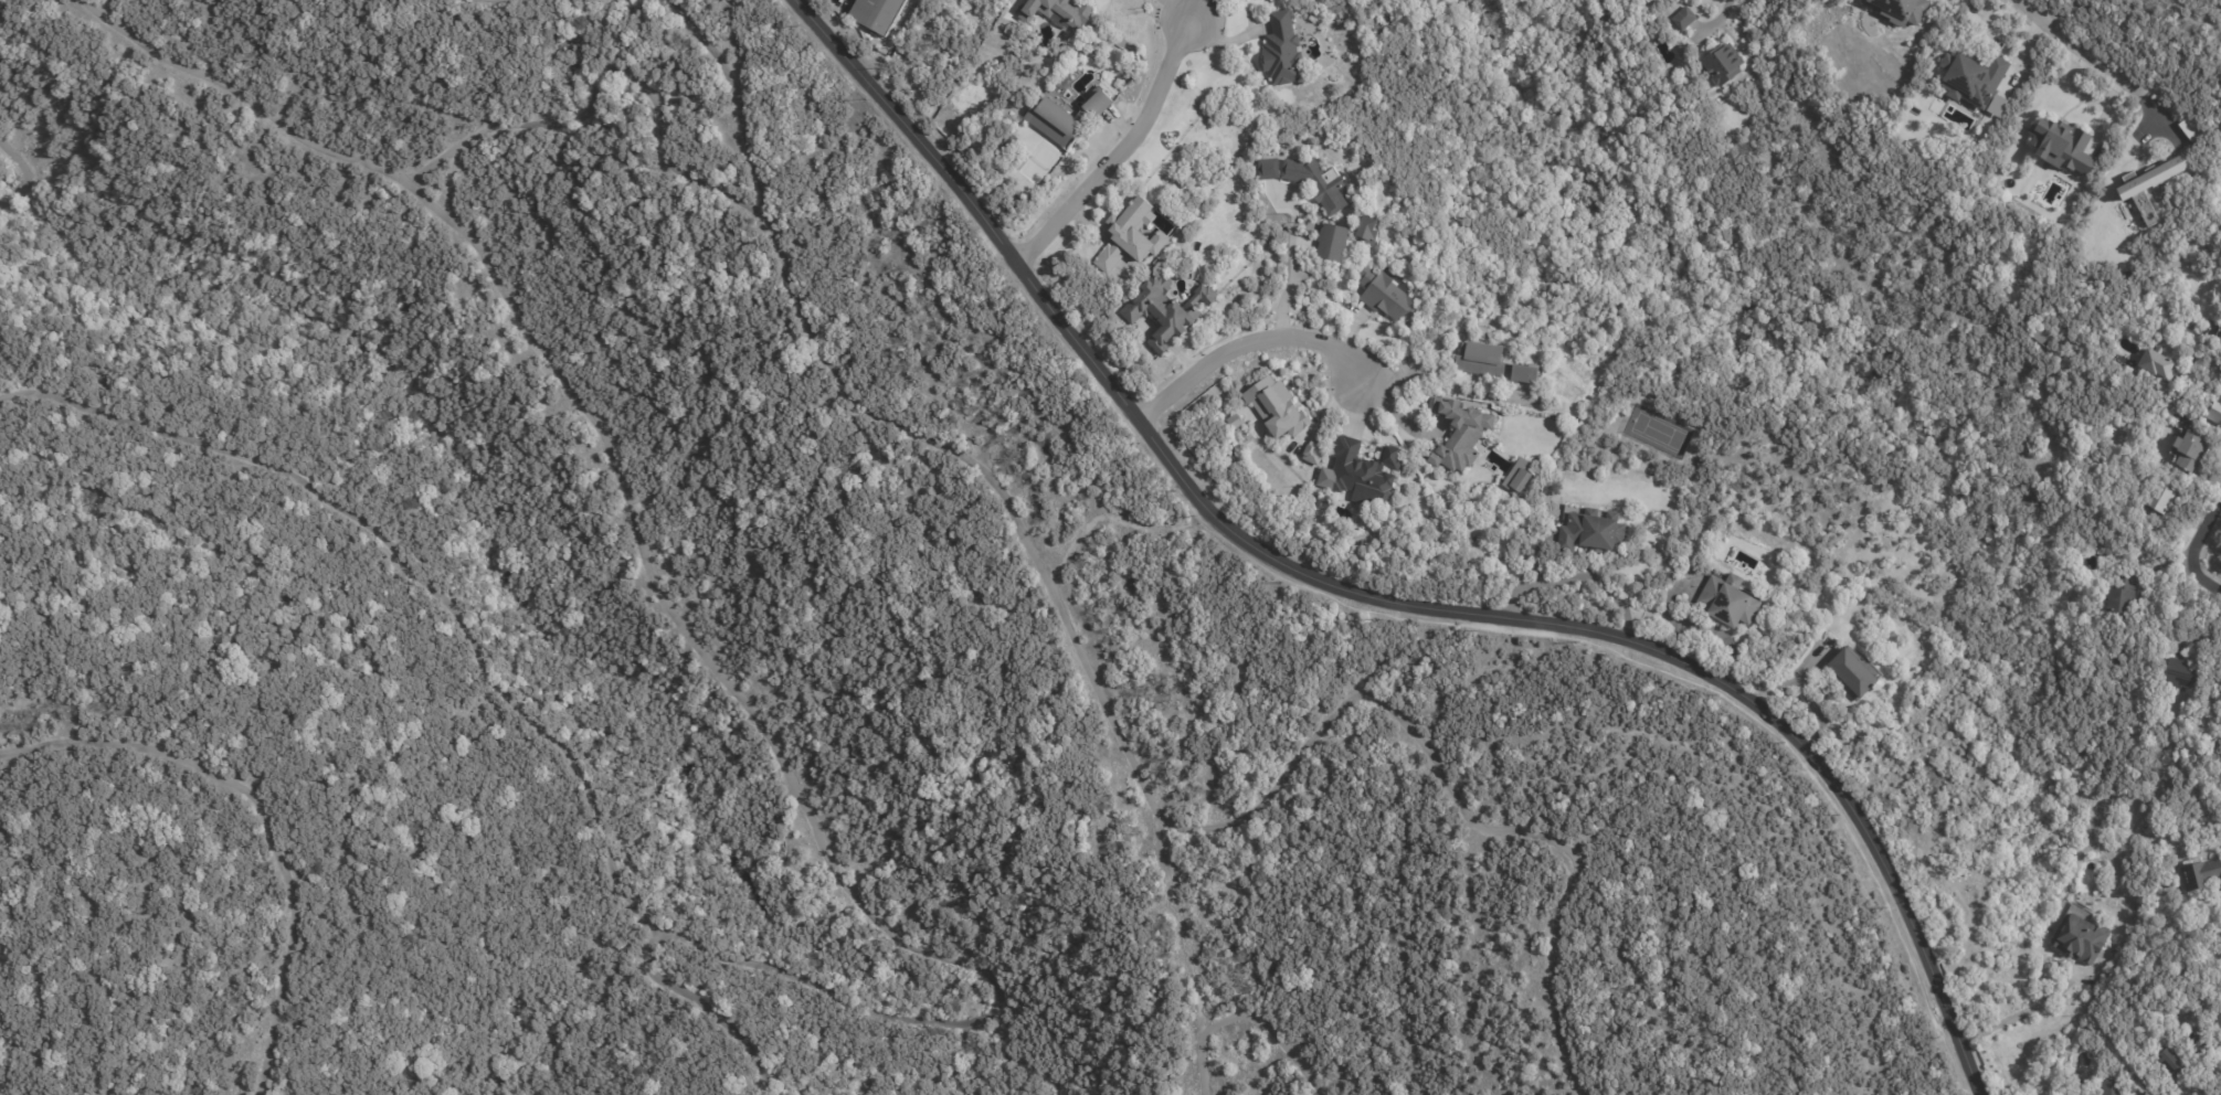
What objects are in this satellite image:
road: (1182, 7)
building: (1899, 10)
building: (1058, 11)
building: (878, 14)
building: (1681, 20)
building: (1286, 51)
building: (1721, 64)
road: (2098, 66)
building: (1968, 81)
building: (1069, 118)
building: (2061, 147)
road: (1124, 150)
building: (1309, 178)
building: (1368, 228)
building: (1130, 234)
building: (1333, 242)
road: (1290, 262)
building: (1390, 297)
building: (1164, 307)
building: (2219, 339)
road: (1242, 340)
building: (2159, 358)
road: (2204, 365)
building: (1499, 366)
building: (1275, 407)
road: (1390, 411)
building: (2214, 413)
building: (2185, 425)
building: (1460, 433)
building: (1312, 453)
building: (2185, 454)
building: (1364, 475)
building: (1522, 478)
building: (1320, 501)
building: (2158, 501)
building: (1590, 532)
road: (2206, 539)
road: (1577, 578)
road: (2202, 583)
building: (2120, 592)
road: (1375, 599)
building: (1727, 603)
building: (1850, 673)
building: (2174, 677)
building: (2198, 874)
building: (2079, 943)
building: (2200, 1049)
building: (2168, 1064)
building: (2106, 1088)

